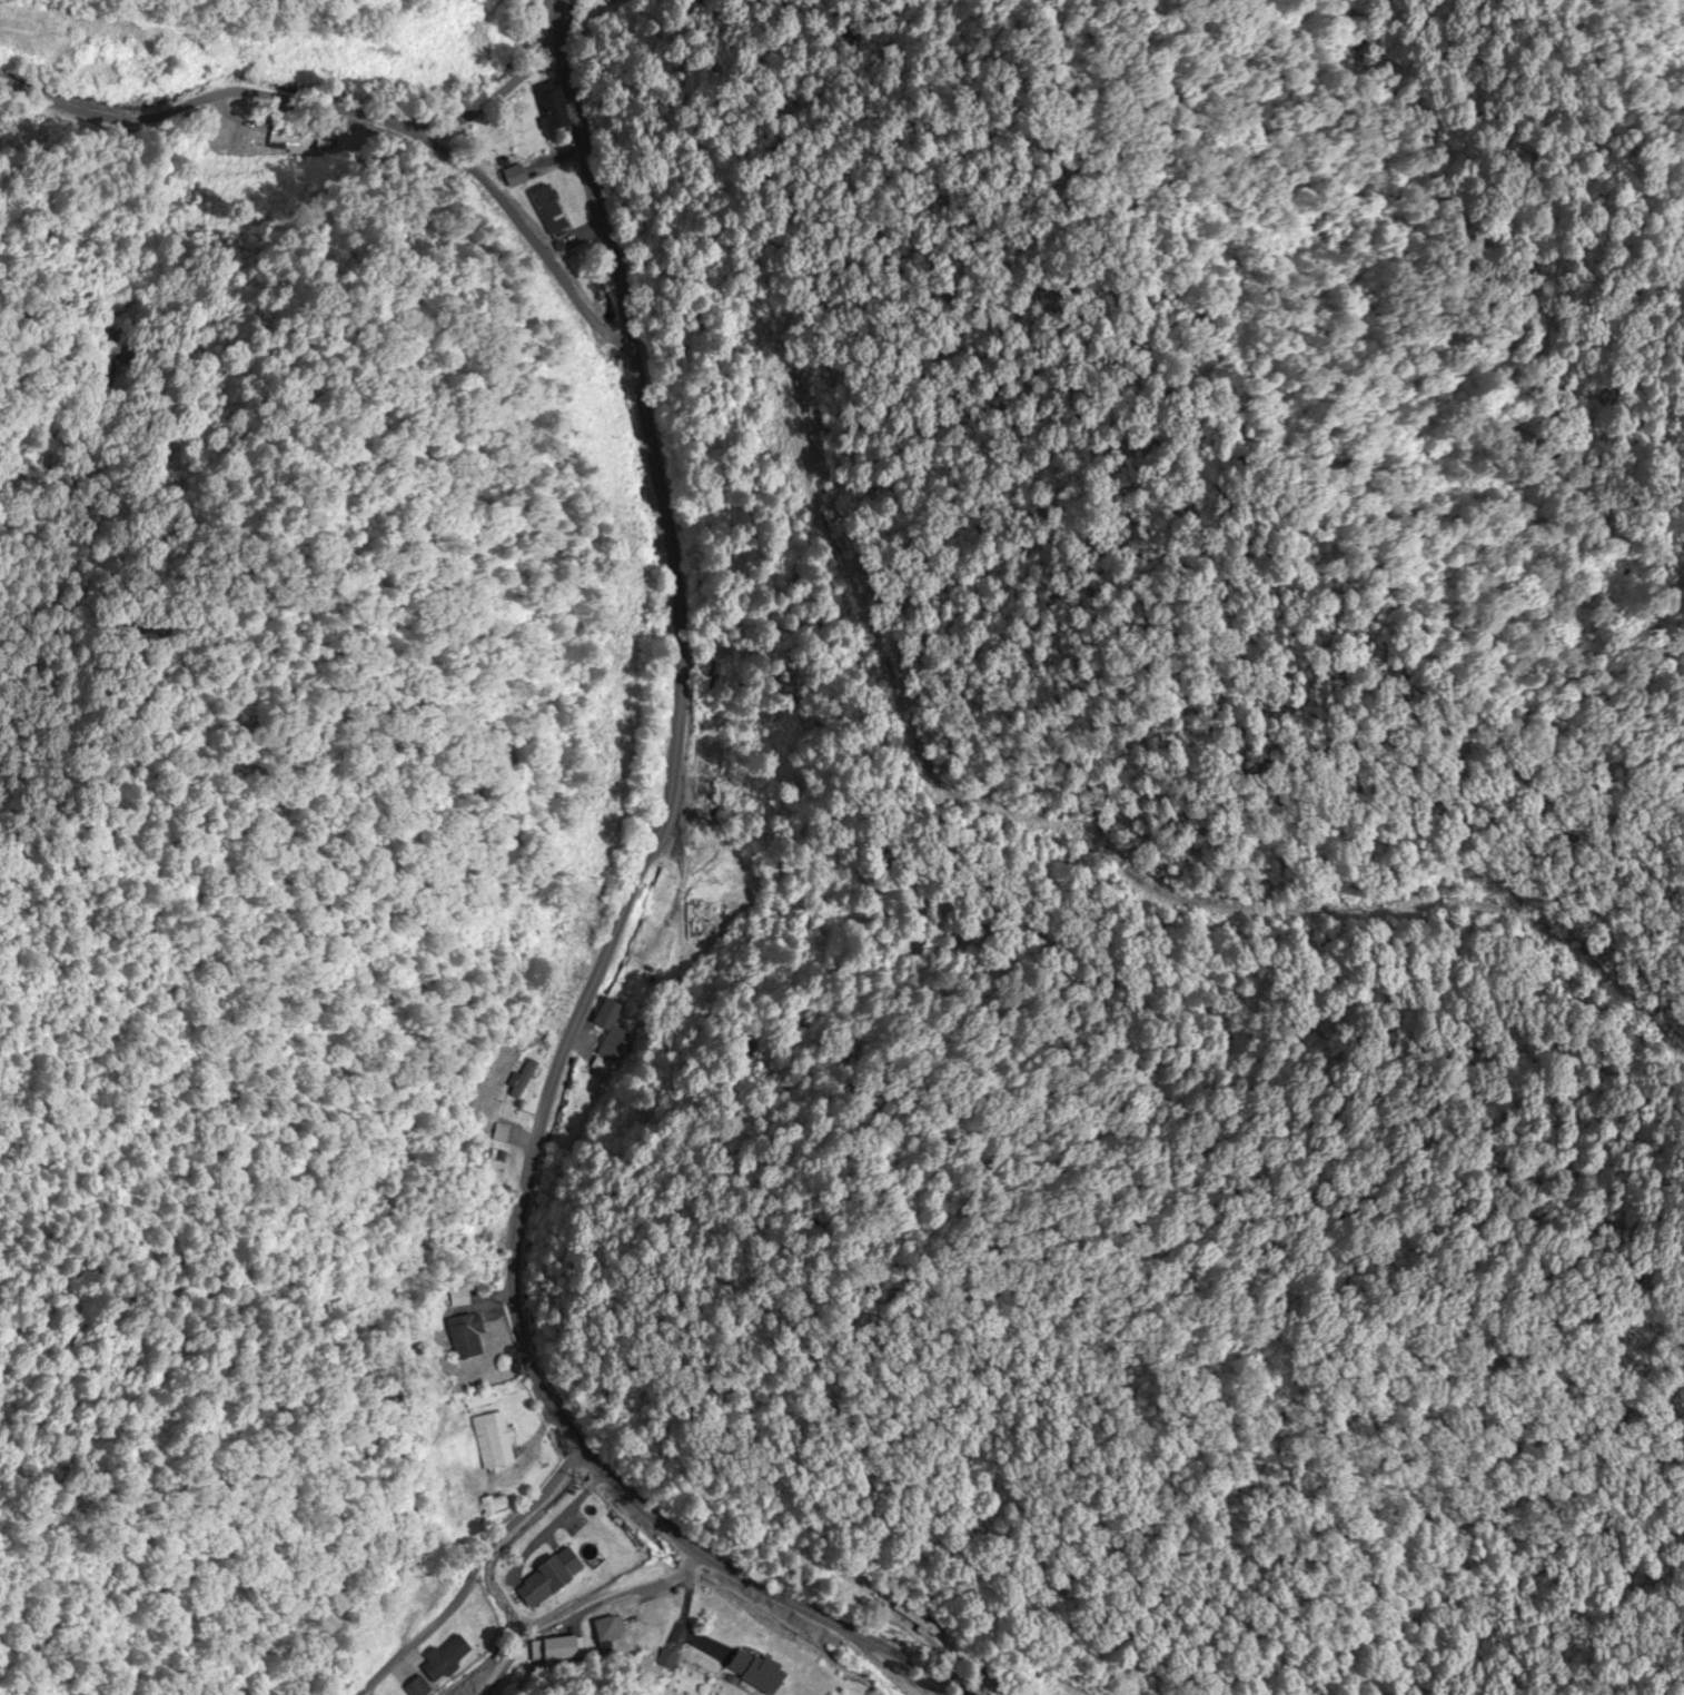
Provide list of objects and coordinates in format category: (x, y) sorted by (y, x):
building: (548, 106)
road: (285, 111)
building: (511, 177)
building: (544, 209)
road: (317, 579)
building: (716, 736)
building: (705, 809)
building: (705, 921)
road: (601, 964)
building: (612, 1032)
building: (518, 1080)
building: (491, 1269)
building: (462, 1337)
building: (475, 1401)
building: (488, 1441)
building: (488, 1506)
road: (460, 1573)
building: (545, 1578)
building: (608, 1629)
building: (447, 1658)
building: (751, 1672)
building: (1064, 1692)

